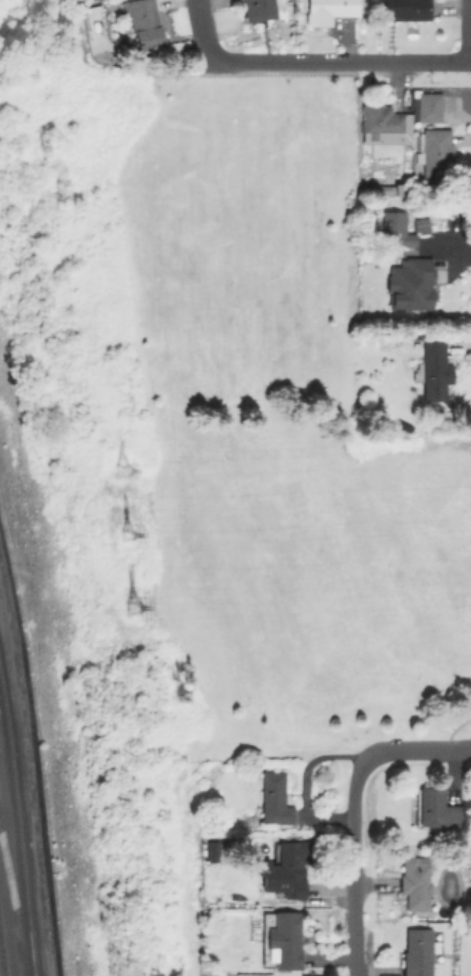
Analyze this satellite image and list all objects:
building: (255, 9)
building: (401, 9)
building: (326, 10)
building: (142, 24)
road: (198, 30)
road: (470, 31)
road: (337, 62)
building: (427, 106)
building: (382, 124)
building: (435, 152)
building: (394, 227)
building: (408, 283)
building: (433, 369)
park: (259, 431)
power tower: (116, 472)
power tower: (115, 536)
power tower: (125, 614)
road: (415, 747)
building: (272, 798)
building: (433, 807)
railway: (20, 822)
building: (211, 851)
road: (353, 865)
building: (283, 869)
road: (7, 871)
building: (413, 882)
railway: (15, 900)
building: (282, 937)
building: (415, 951)
railway: (2, 957)

